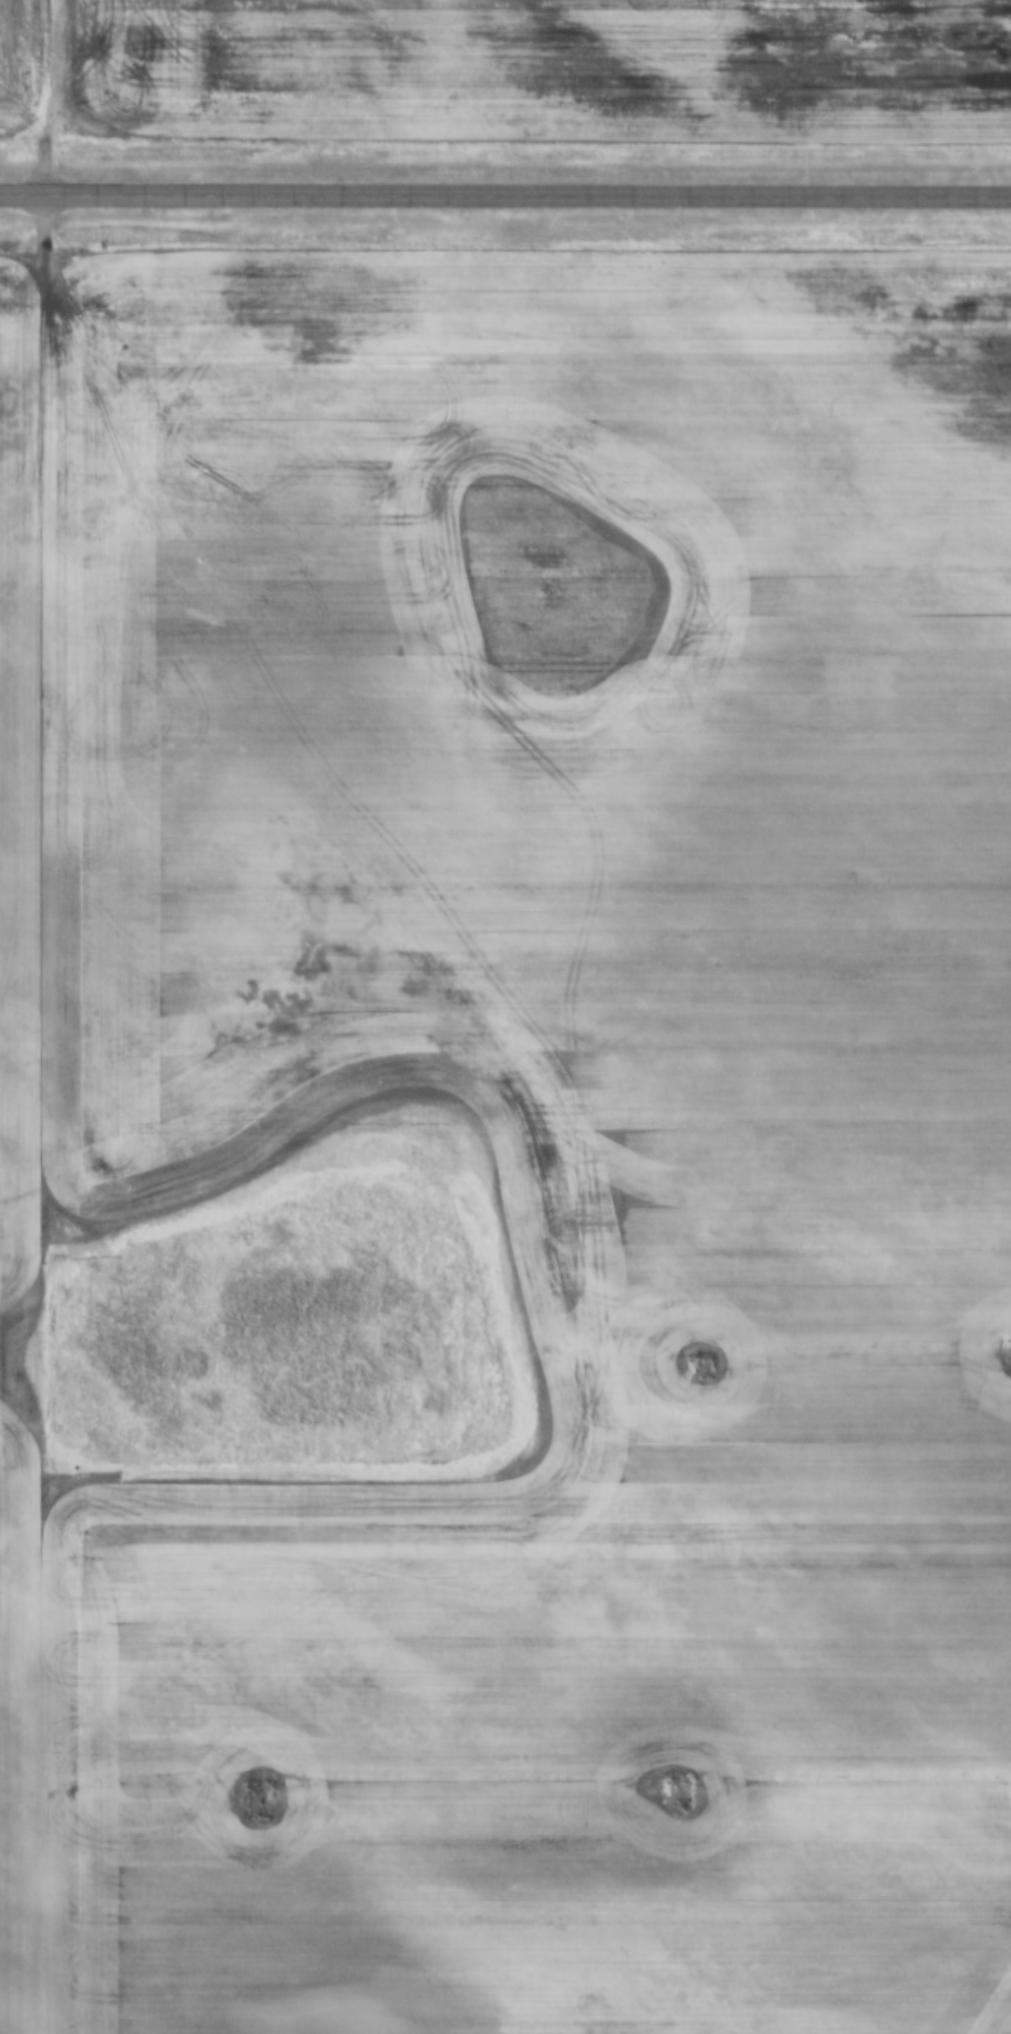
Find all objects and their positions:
road: (505, 190)

